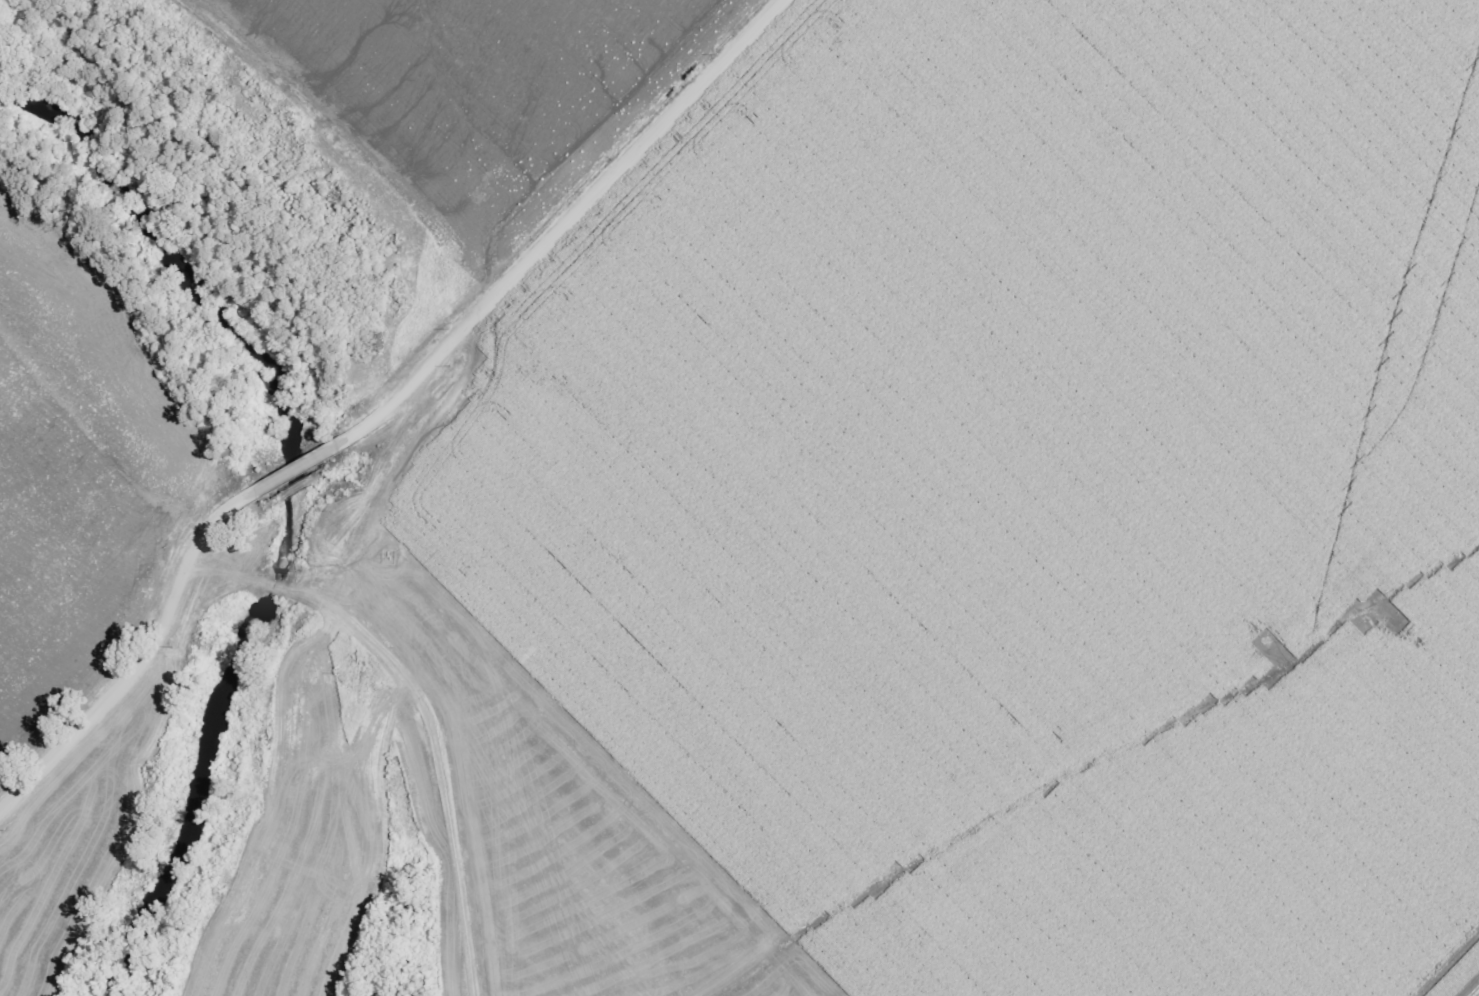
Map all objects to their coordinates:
road: (381, 416)

